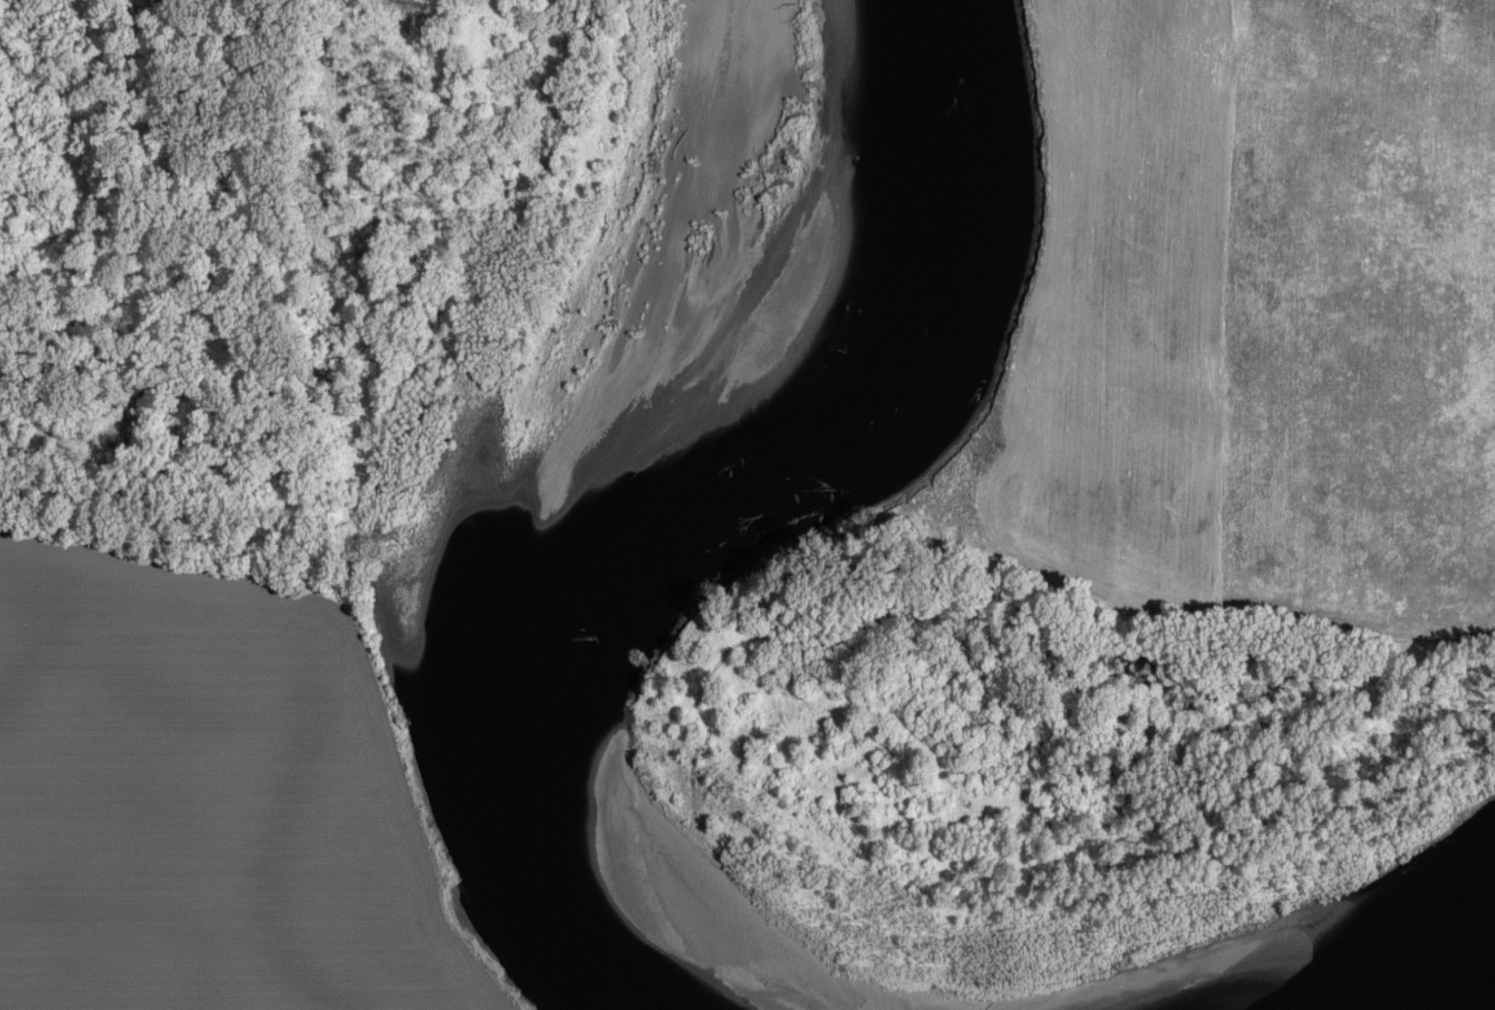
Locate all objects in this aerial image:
river: (474, 580)
river: (1352, 960)

